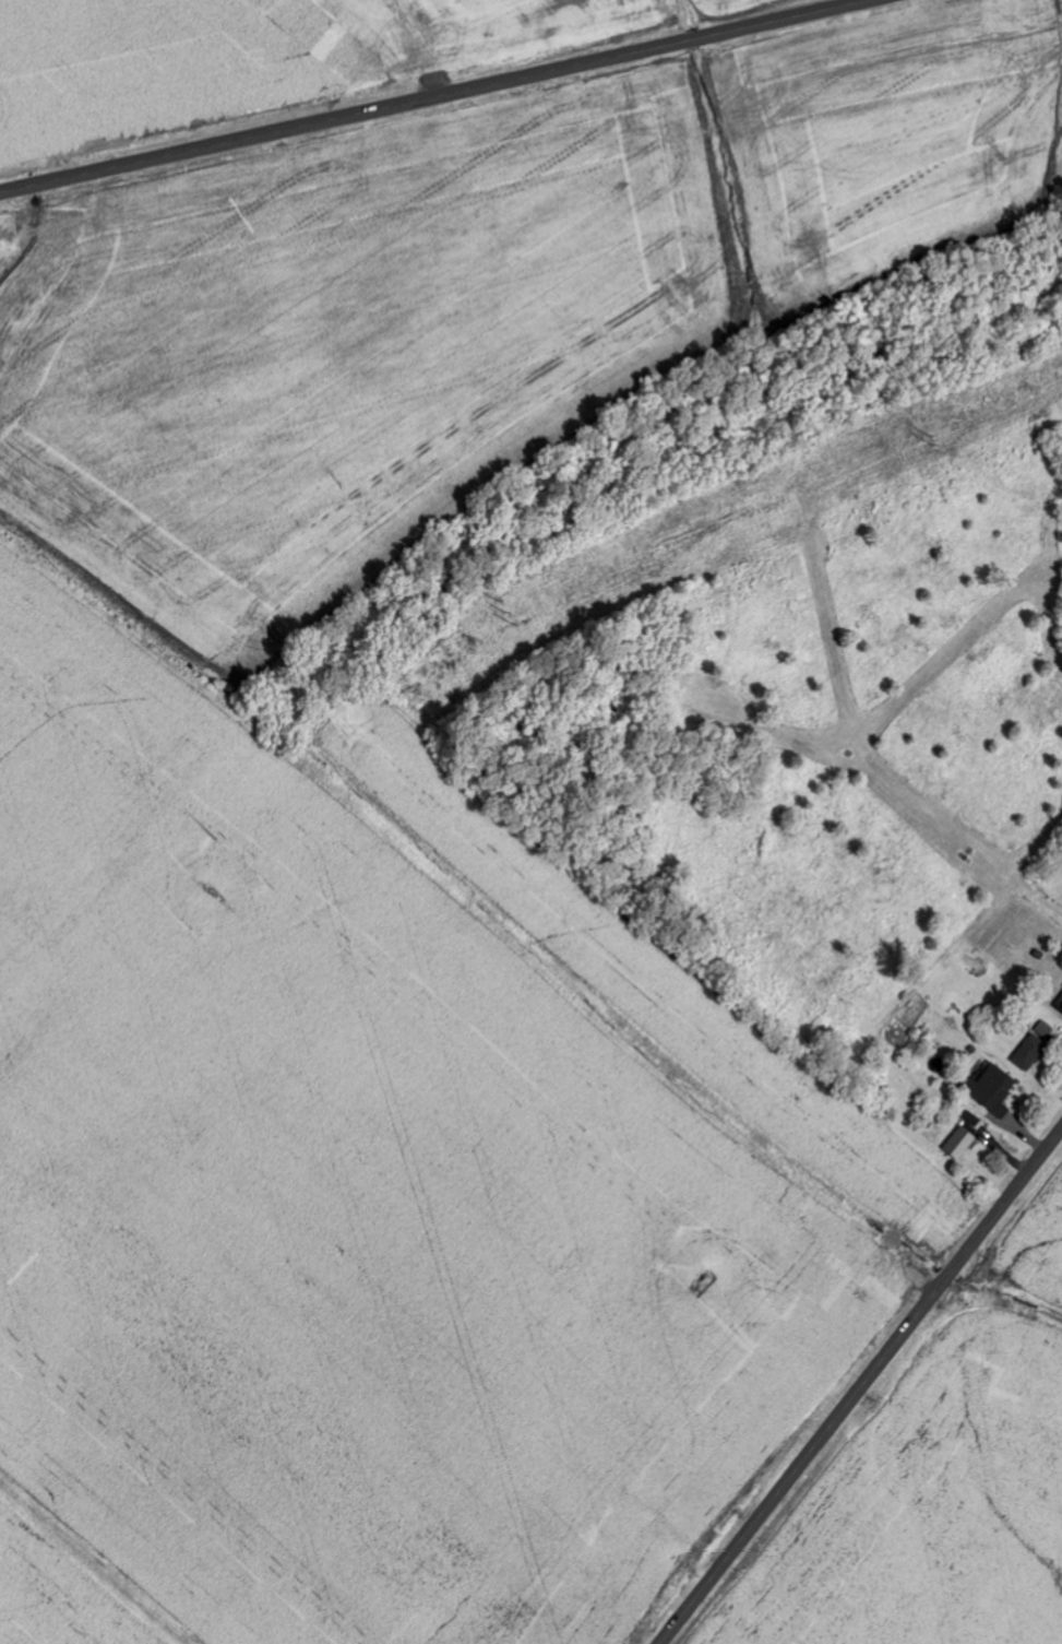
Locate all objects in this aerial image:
road: (432, 96)
road: (1047, 914)
building: (1061, 1007)
building: (1037, 1046)
building: (997, 1089)
building: (974, 1120)
building: (963, 1143)
road: (1024, 1178)
road: (823, 1434)

